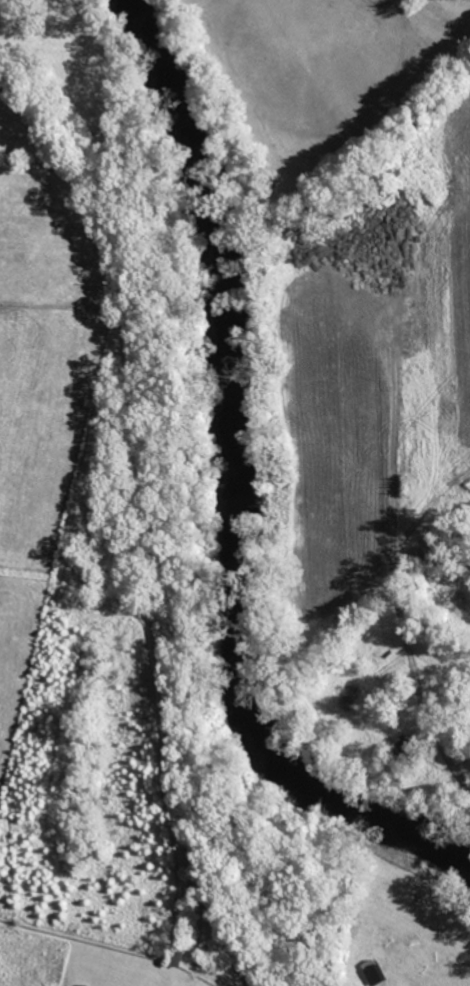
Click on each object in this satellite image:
river: (259, 493)
road: (438, 735)

